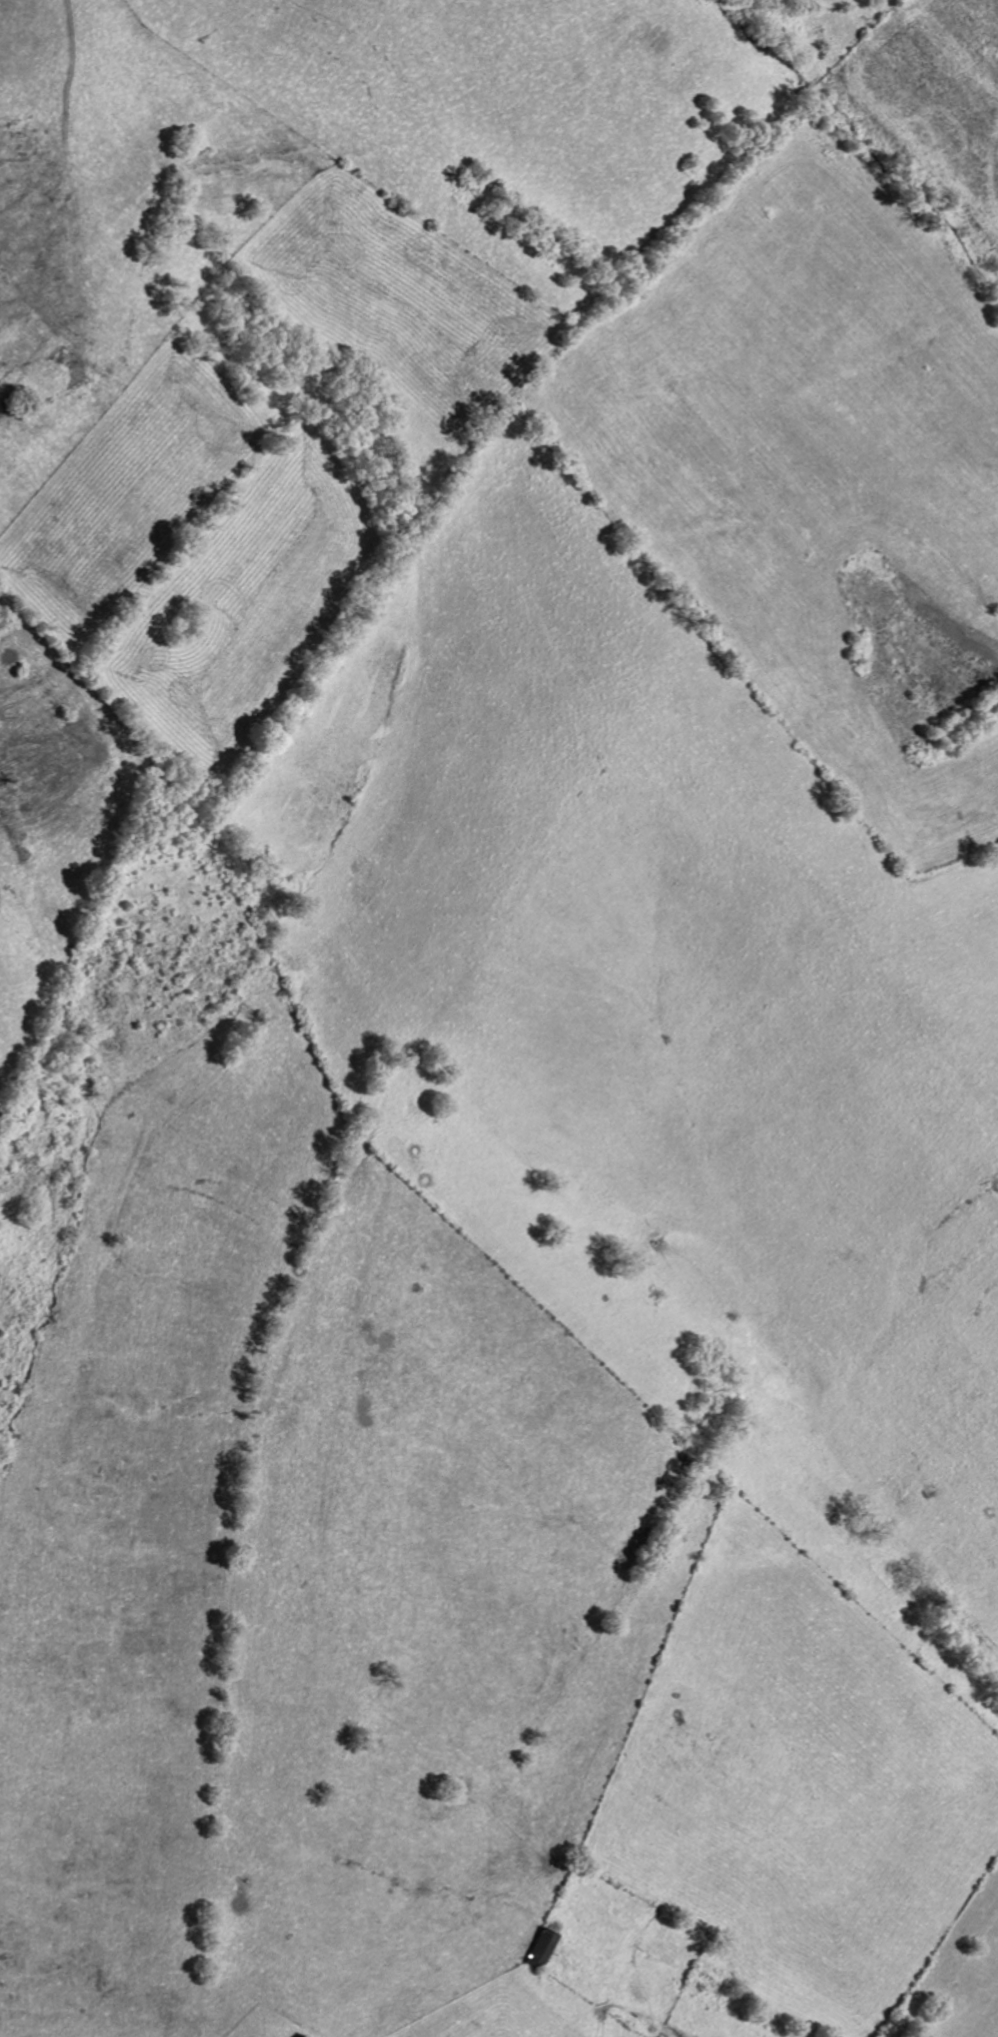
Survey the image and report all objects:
building: (544, 1949)
building: (305, 2036)

